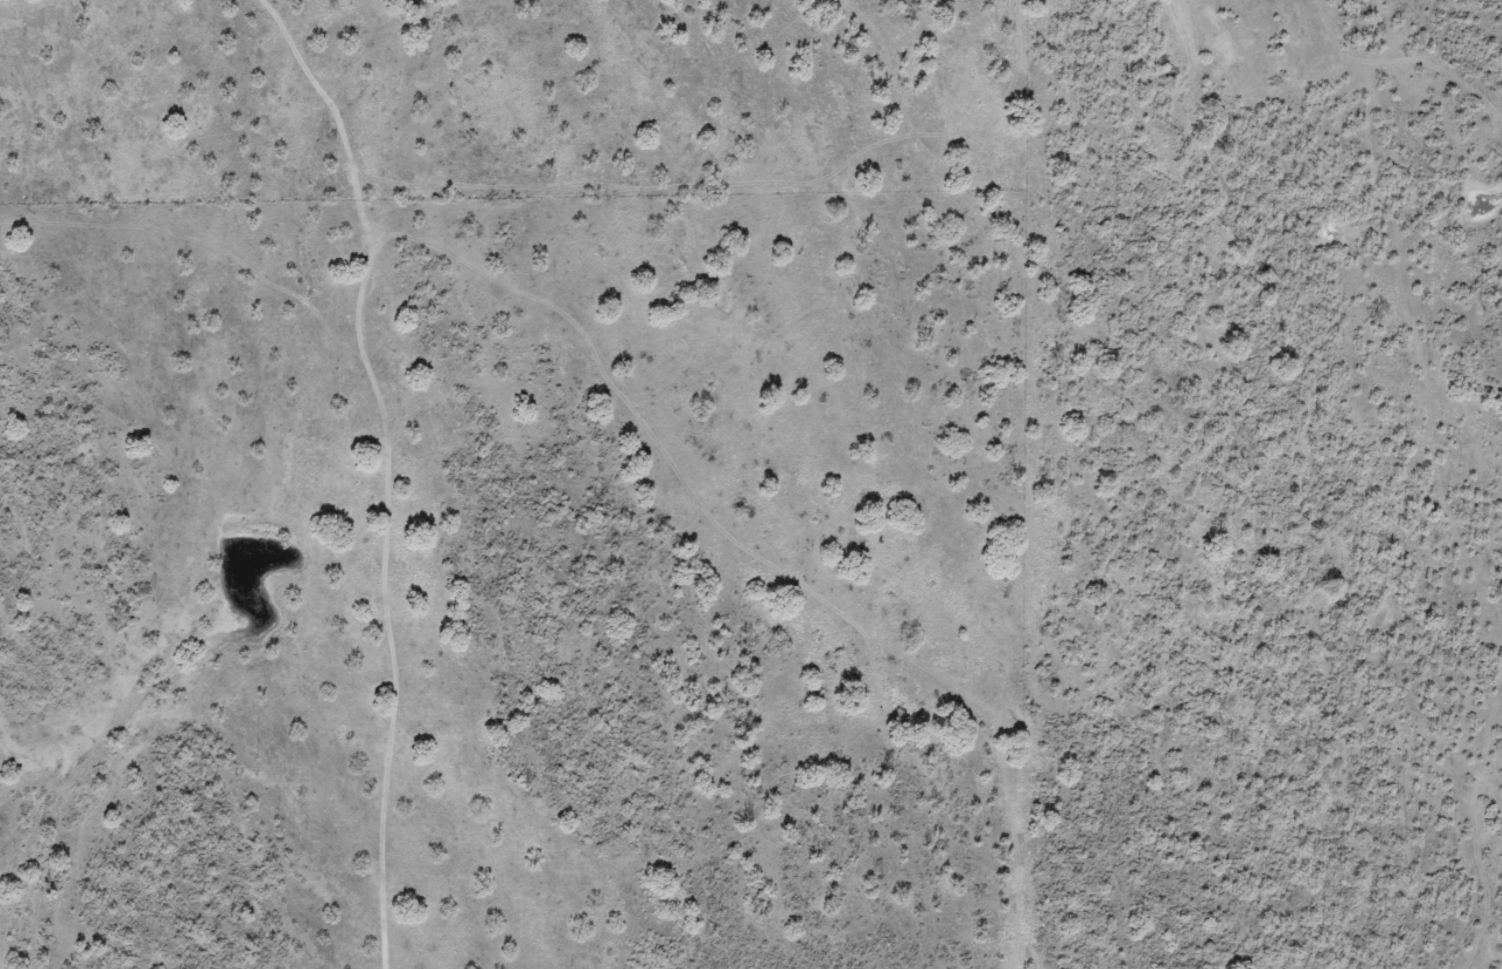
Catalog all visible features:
road: (396, 470)

